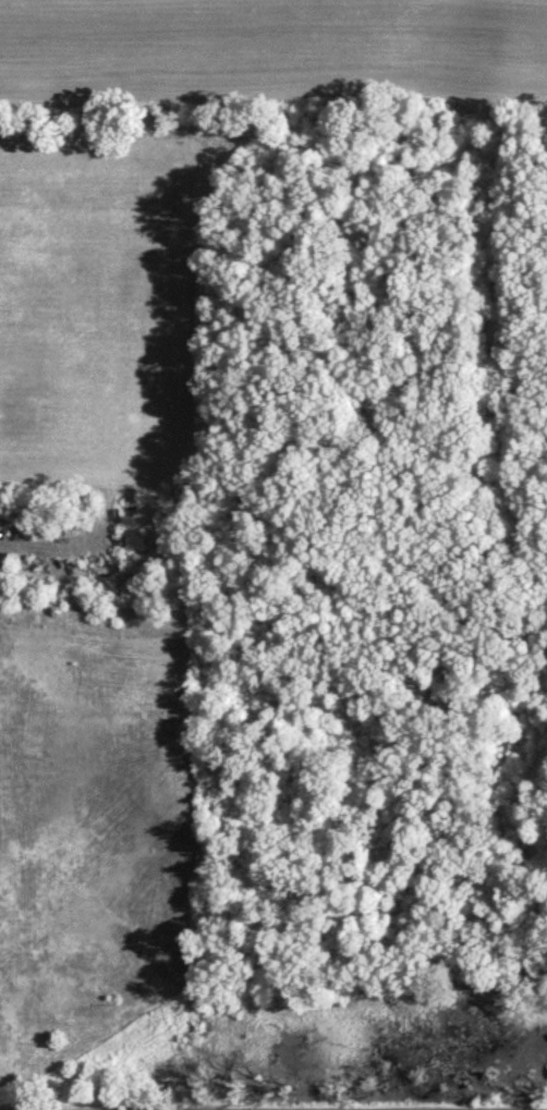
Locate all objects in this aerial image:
road: (467, 1109)

